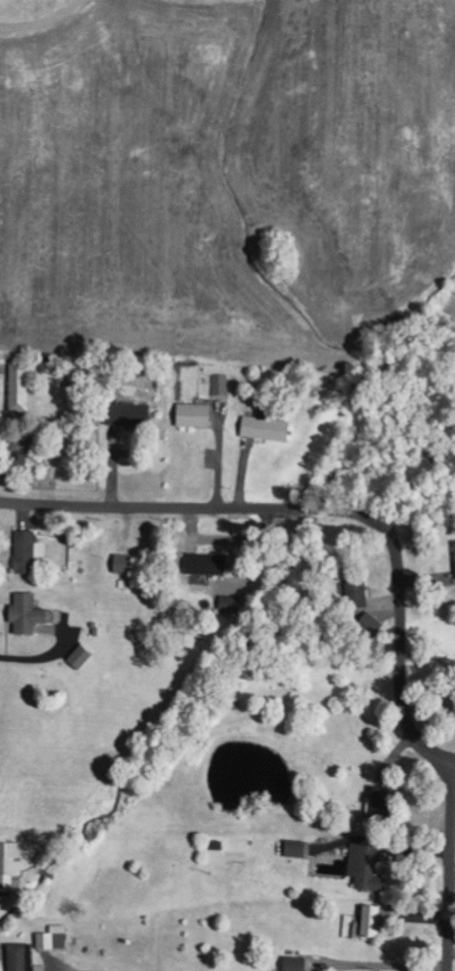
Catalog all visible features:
building: (221, 385)
building: (21, 388)
building: (130, 416)
building: (196, 416)
building: (267, 429)
building: (27, 458)
road: (318, 514)
building: (29, 551)
building: (126, 564)
building: (210, 566)
building: (357, 587)
building: (29, 615)
building: (82, 658)
building: (11, 865)
building: (367, 867)
road: (451, 868)
building: (372, 923)
building: (52, 942)
building: (23, 958)
building: (297, 964)
road: (378, 966)

